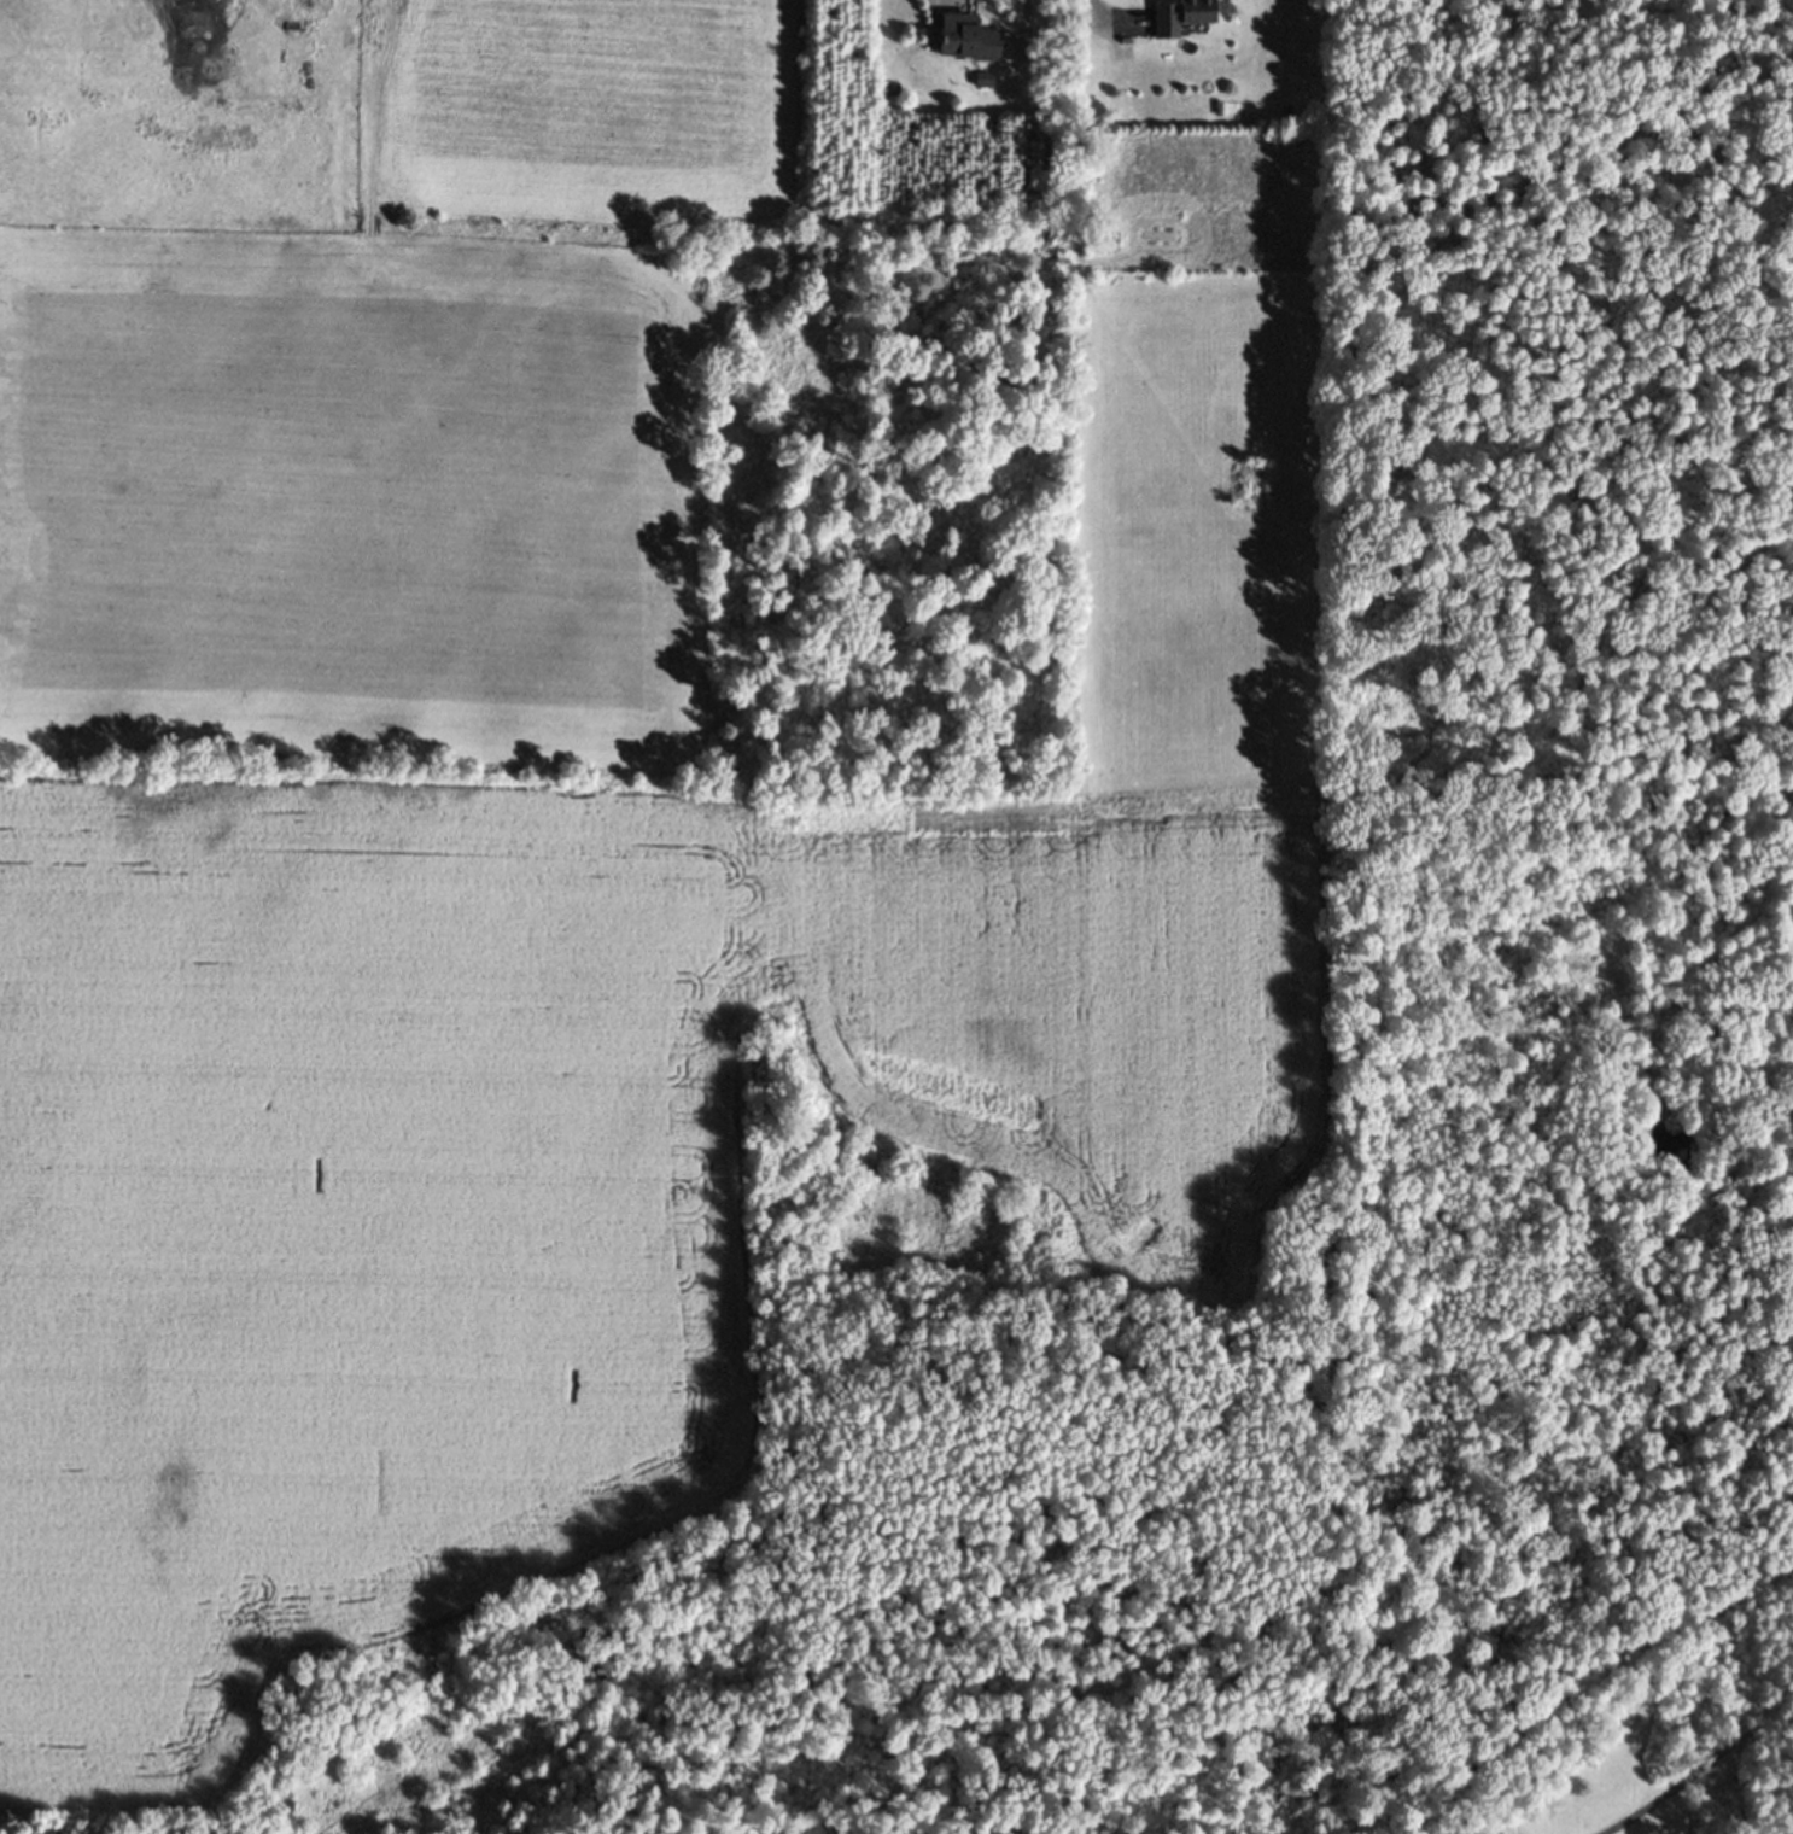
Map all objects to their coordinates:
building: (1181, 19)
road: (1112, 23)
building: (965, 42)

